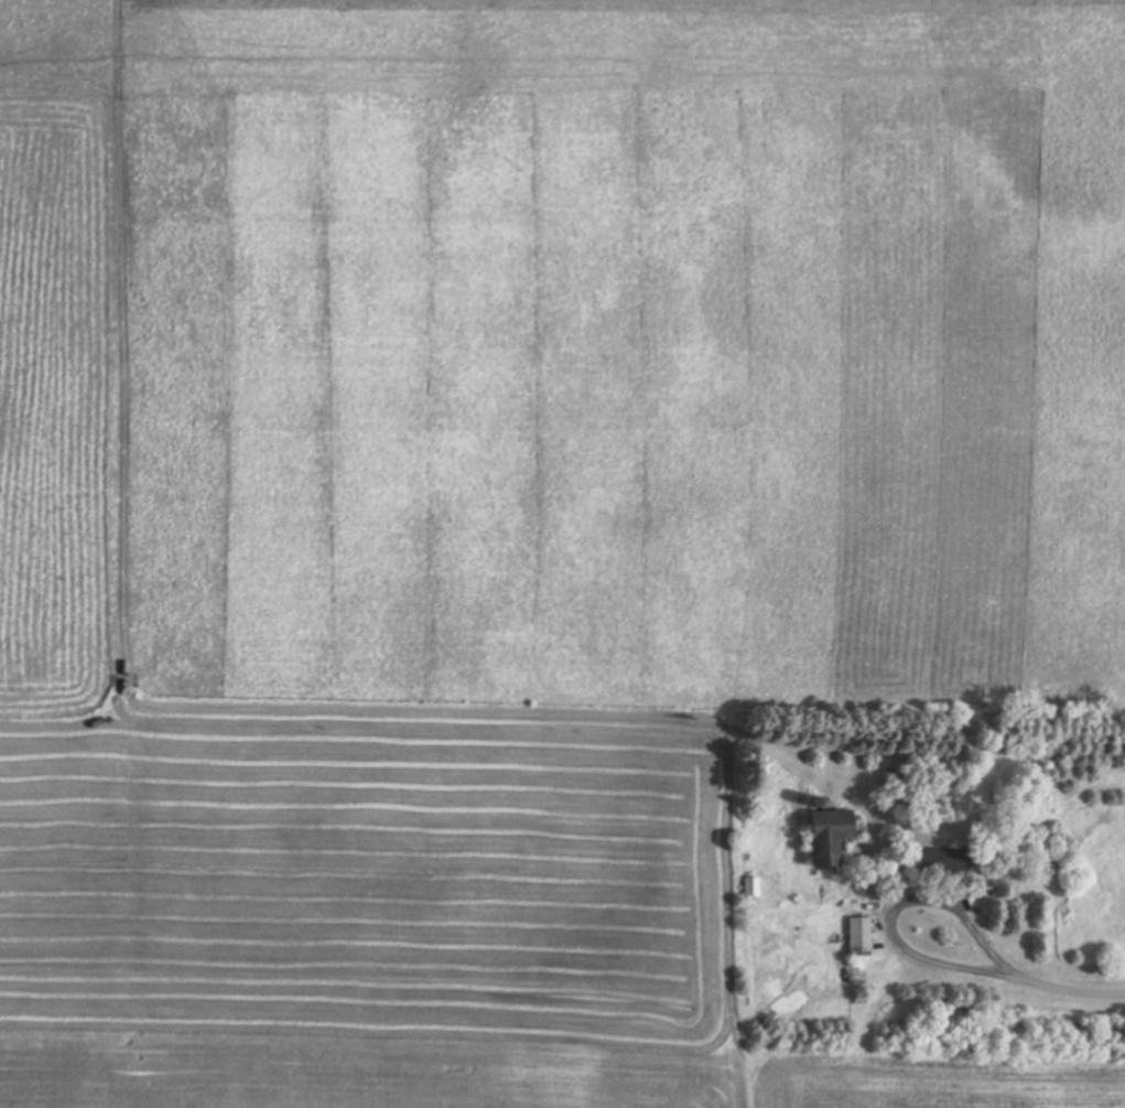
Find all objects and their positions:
crop: (519, 516)
building: (833, 837)
building: (943, 861)
building: (754, 888)
building: (862, 937)
road: (1030, 978)

